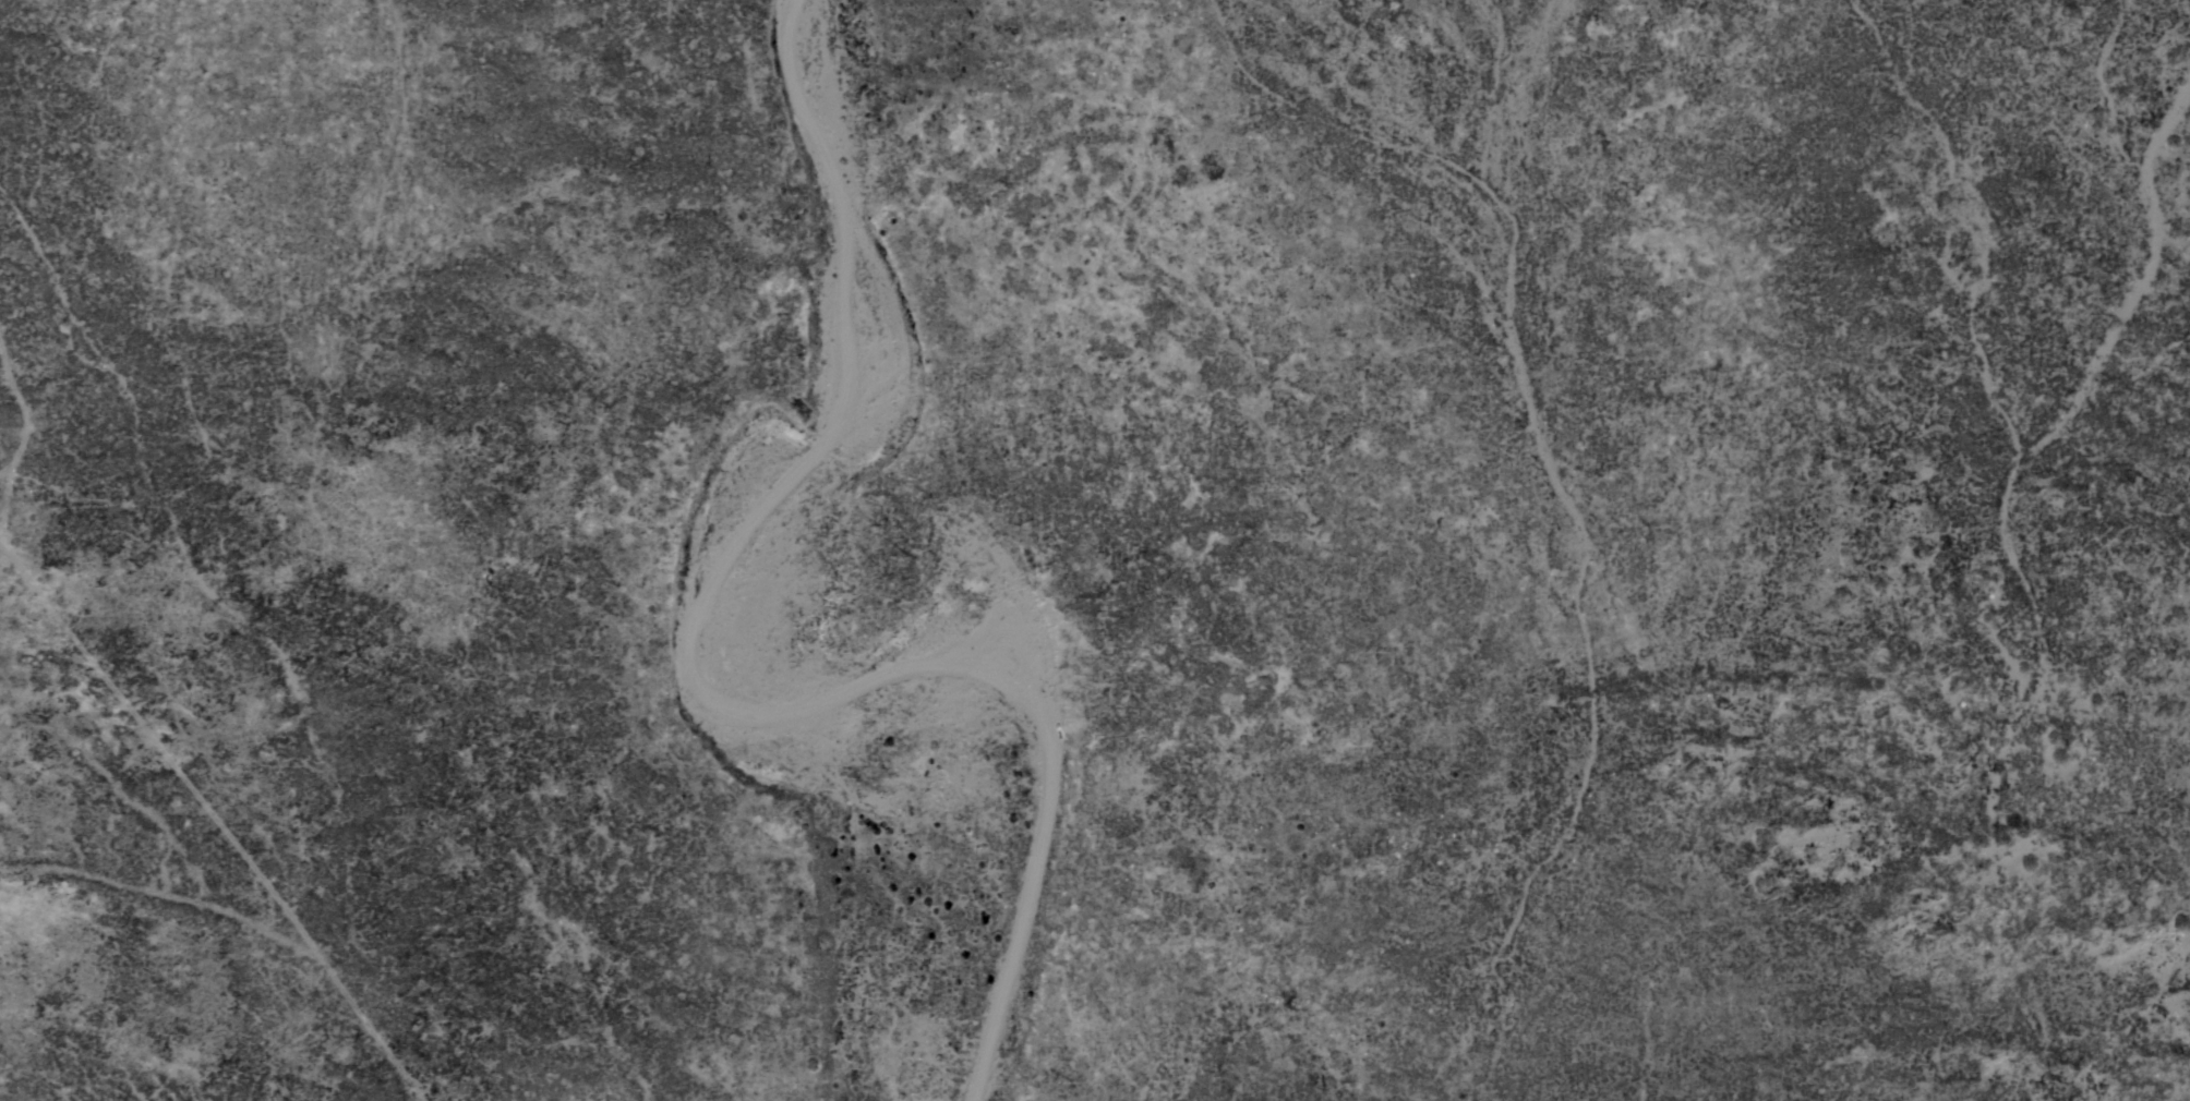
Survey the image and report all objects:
road: (687, 685)

